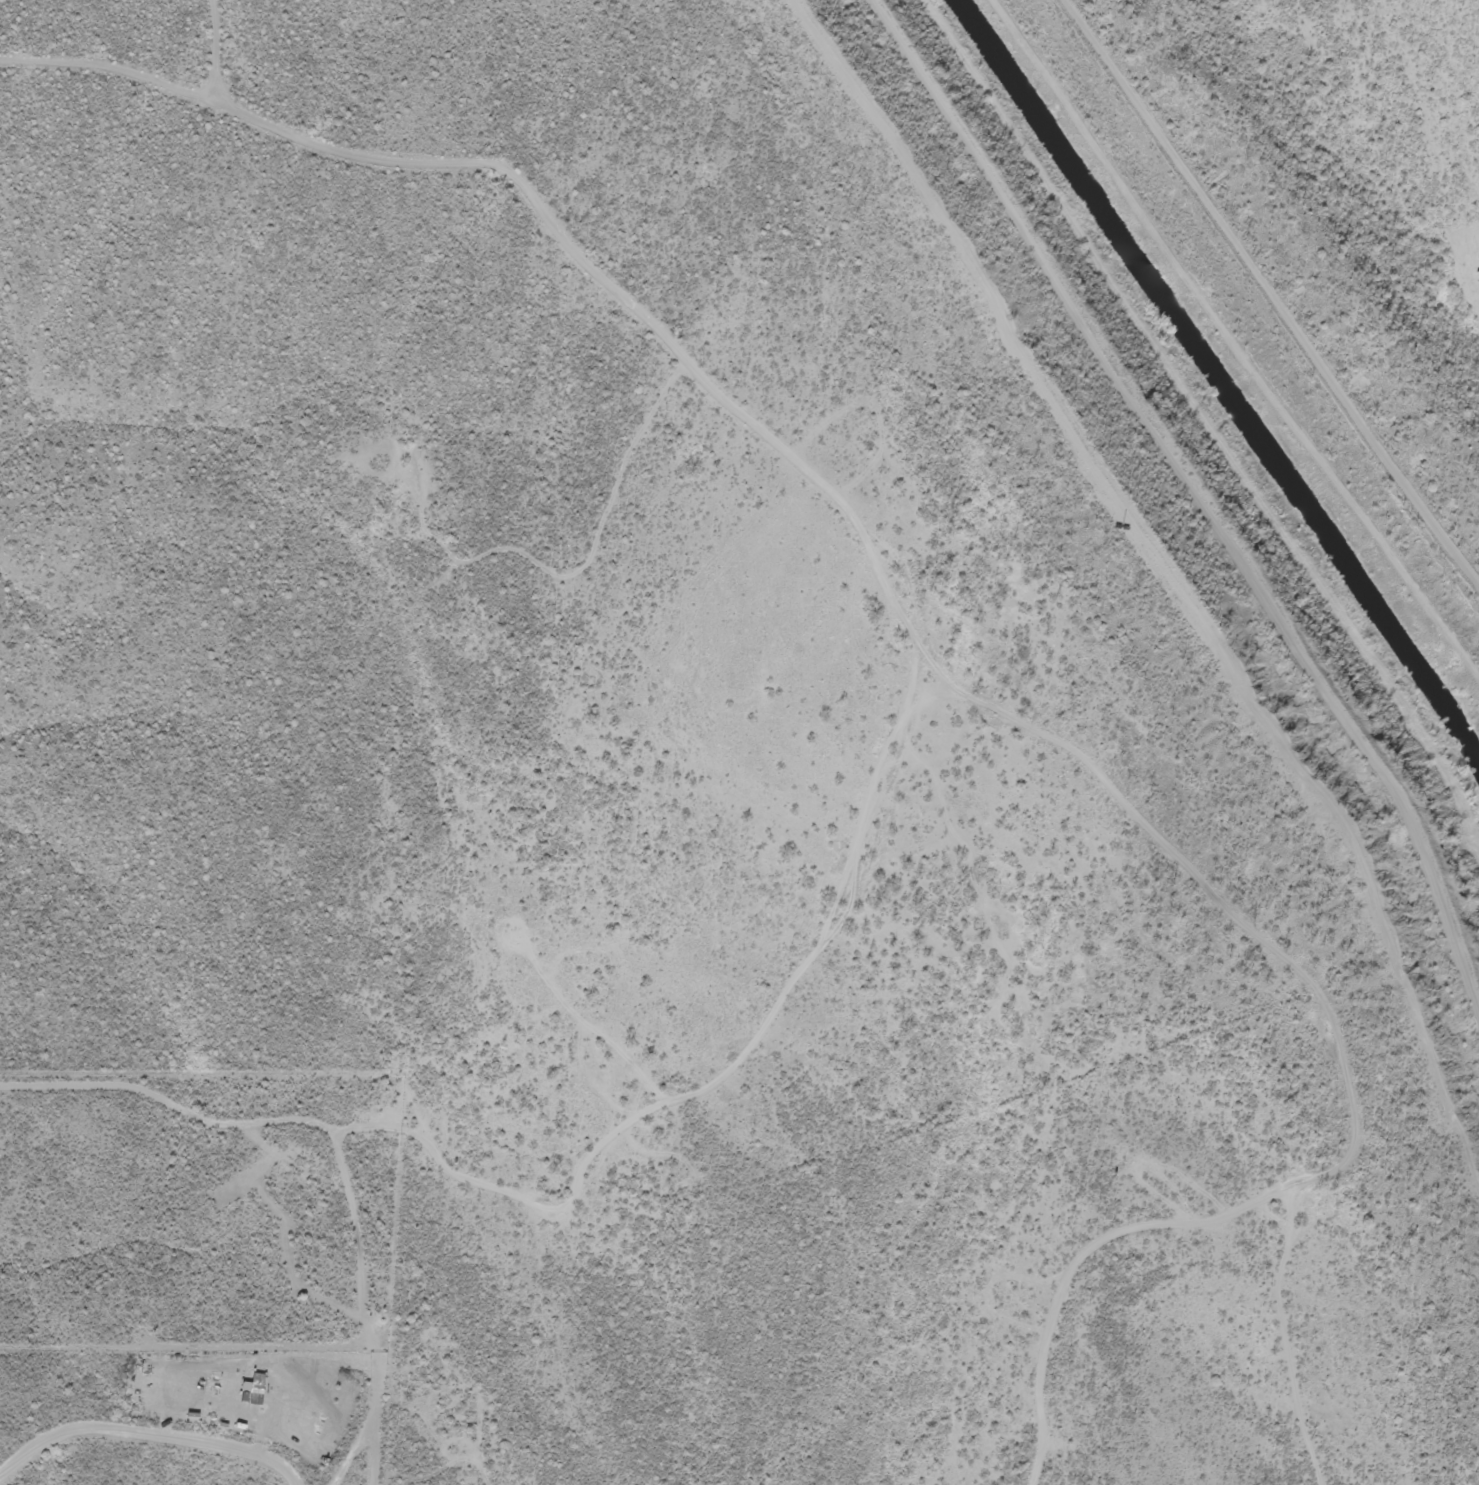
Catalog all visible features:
road: (905, 572)
road: (417, 1099)
road: (307, 1175)
road: (170, 1482)

